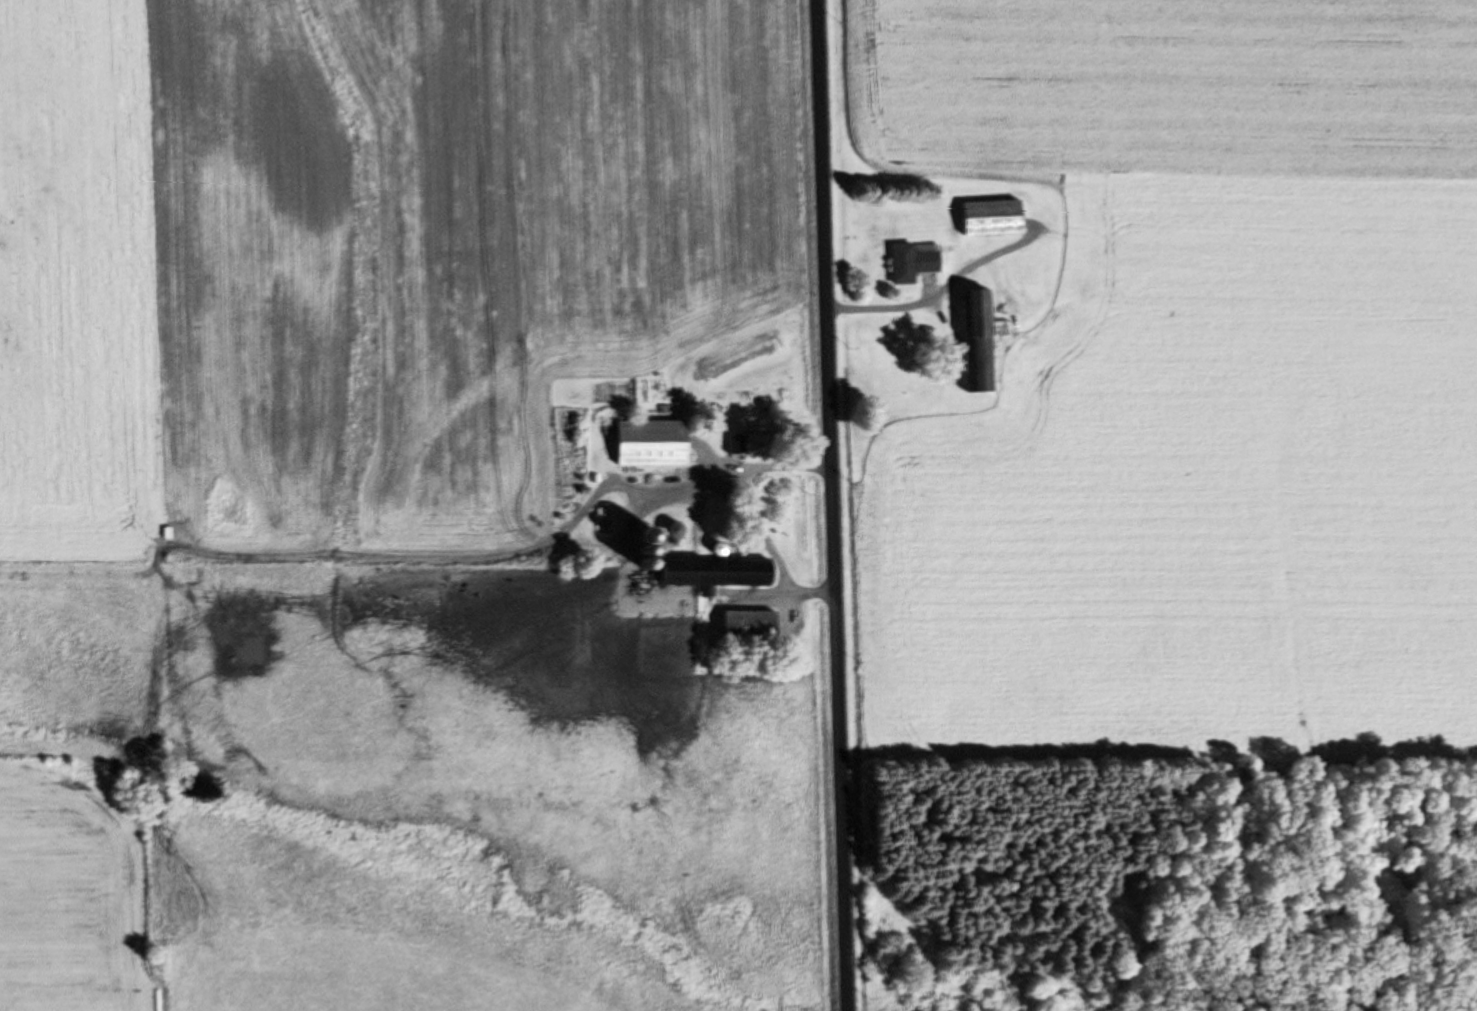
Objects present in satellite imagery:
building: (993, 218)
building: (914, 262)
building: (978, 335)
building: (652, 443)
building: (750, 445)
road: (827, 505)
building: (716, 574)
building: (750, 627)

